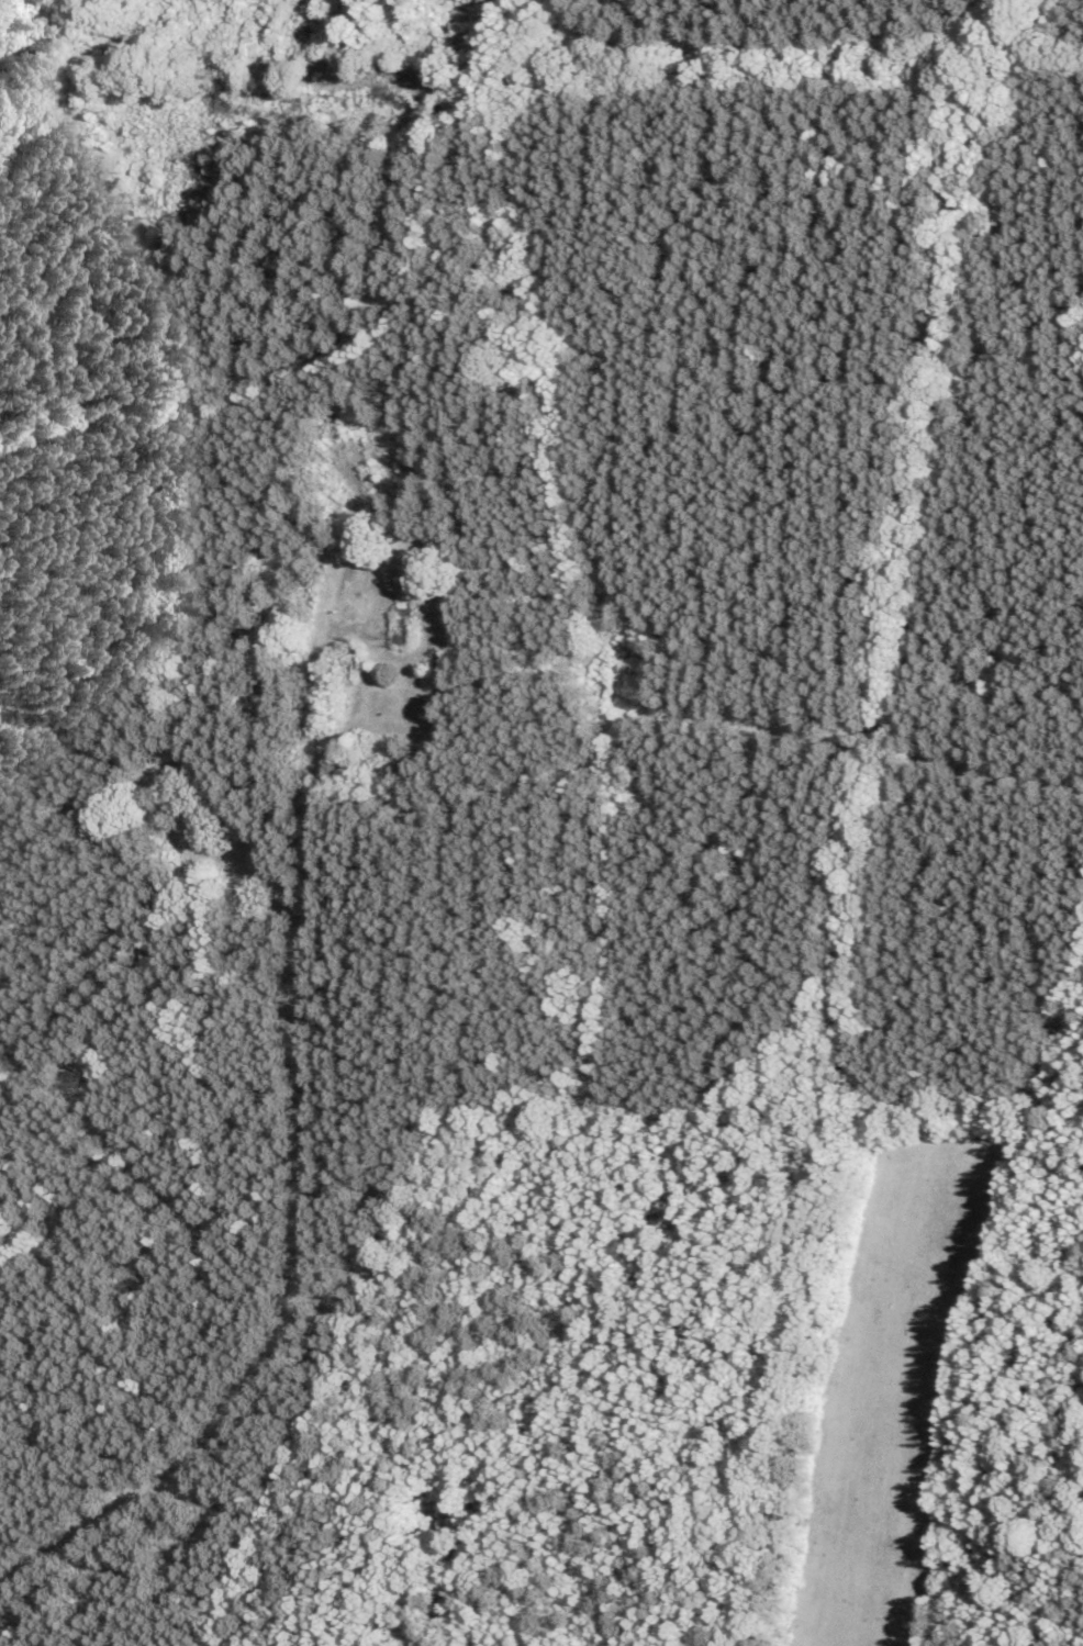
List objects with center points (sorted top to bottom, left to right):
road: (309, 1174)

